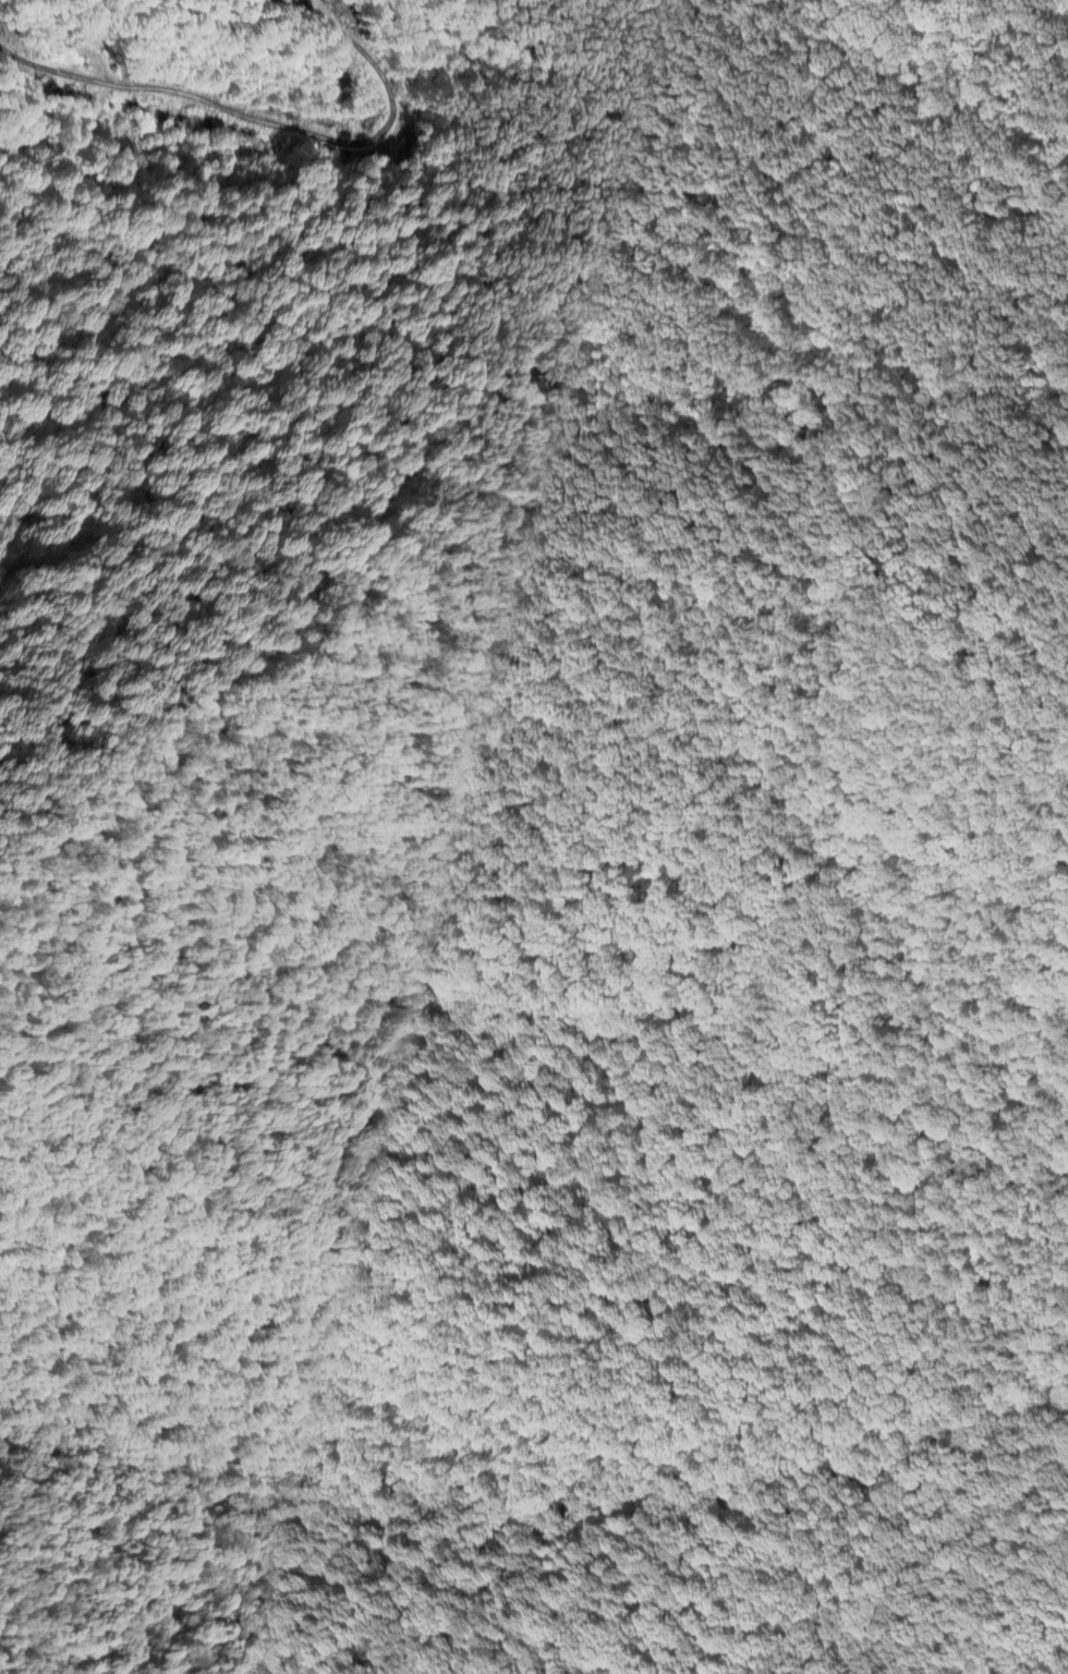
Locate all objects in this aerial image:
road: (281, 129)

